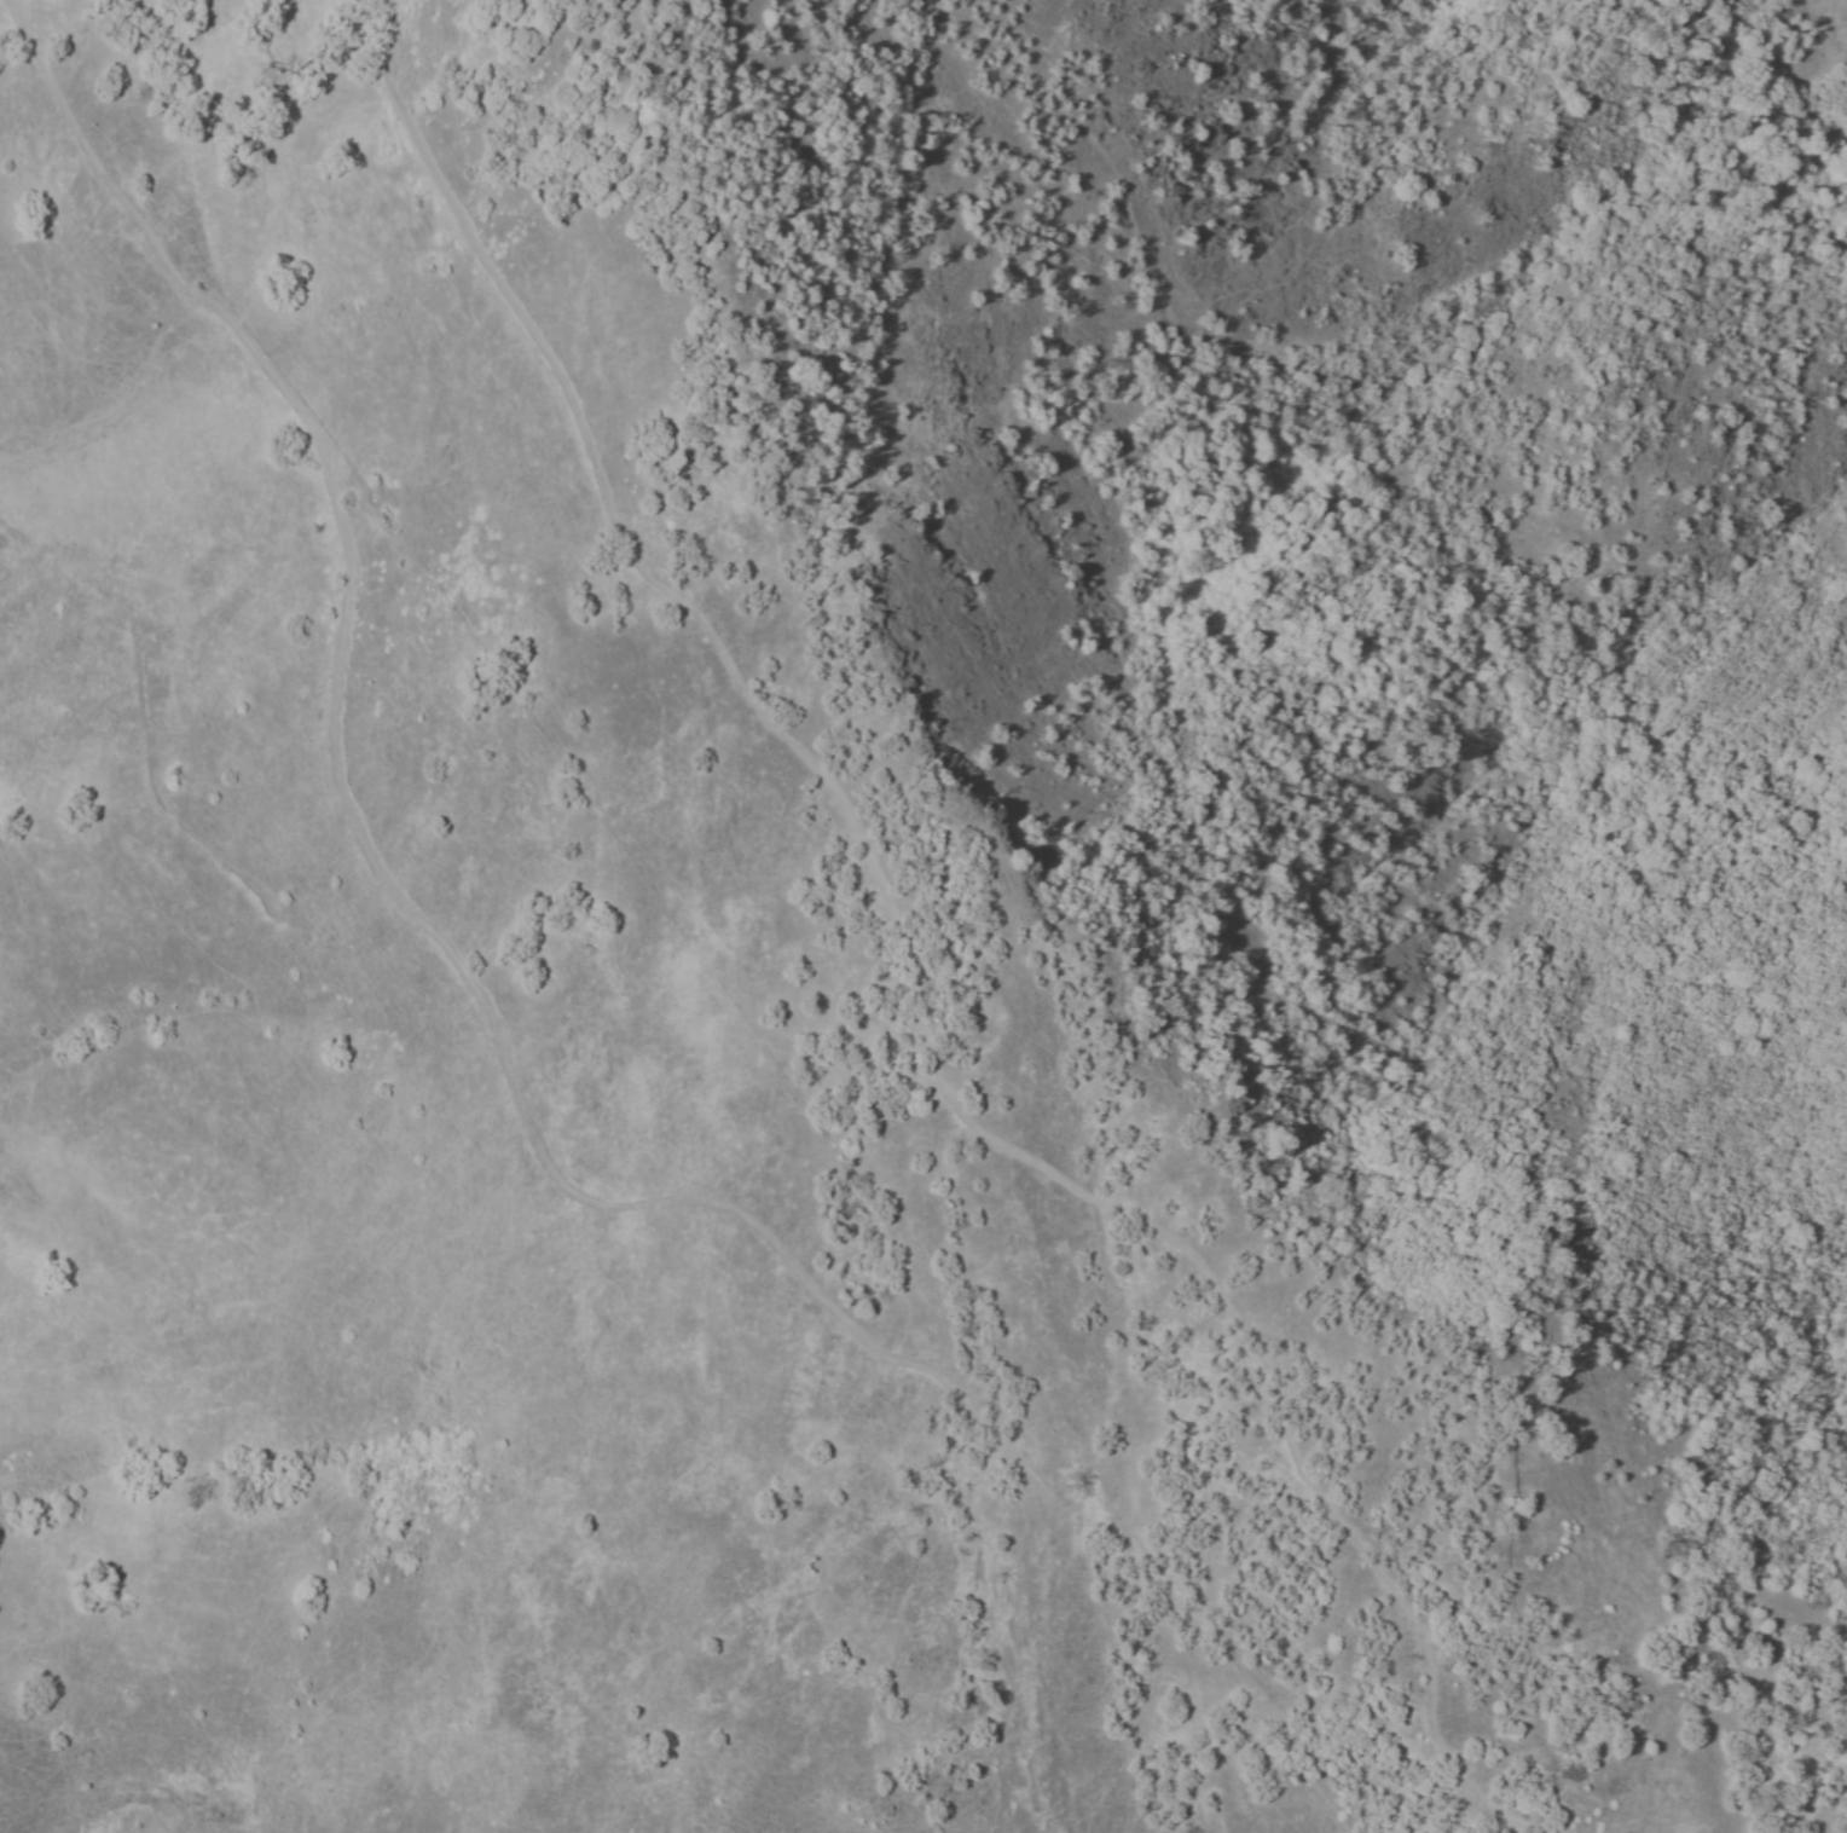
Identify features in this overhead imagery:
road: (380, 871)
road: (907, 962)

